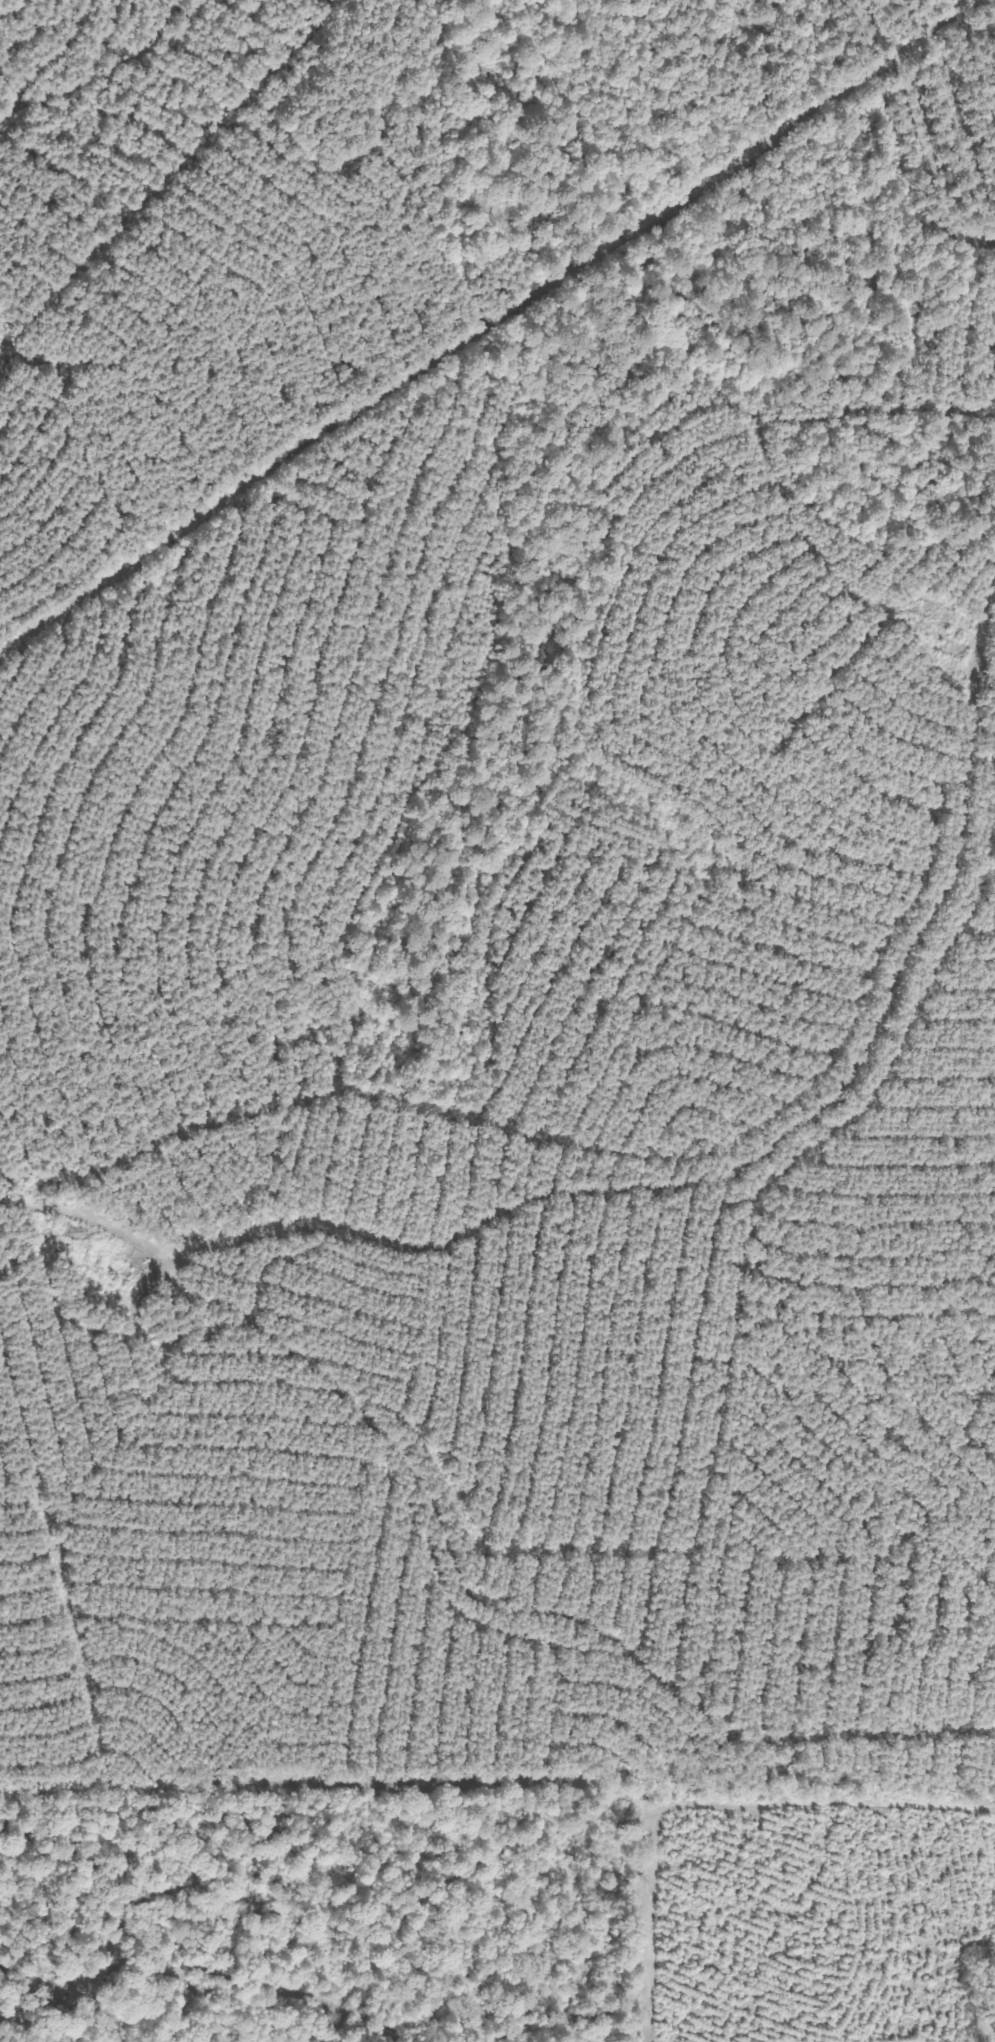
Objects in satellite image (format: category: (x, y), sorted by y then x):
road: (489, 322)

